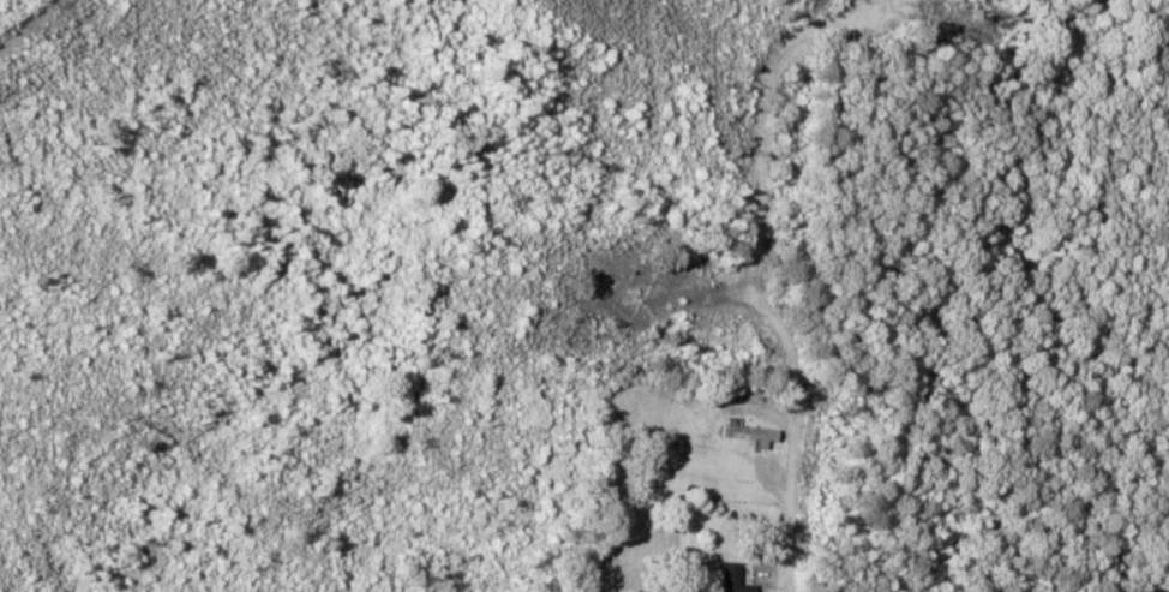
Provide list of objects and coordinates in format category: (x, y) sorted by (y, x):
road: (754, 256)
building: (753, 432)
building: (731, 580)

